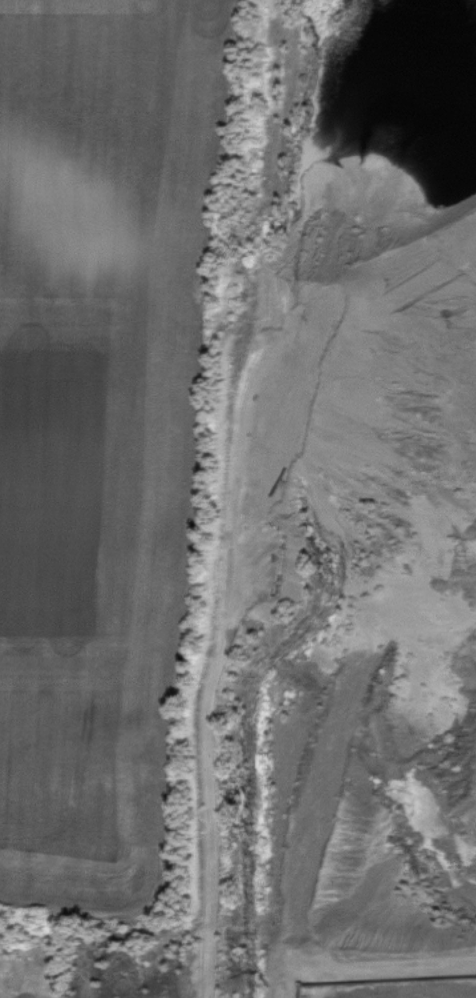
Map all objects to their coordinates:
quarry: (326, 572)

